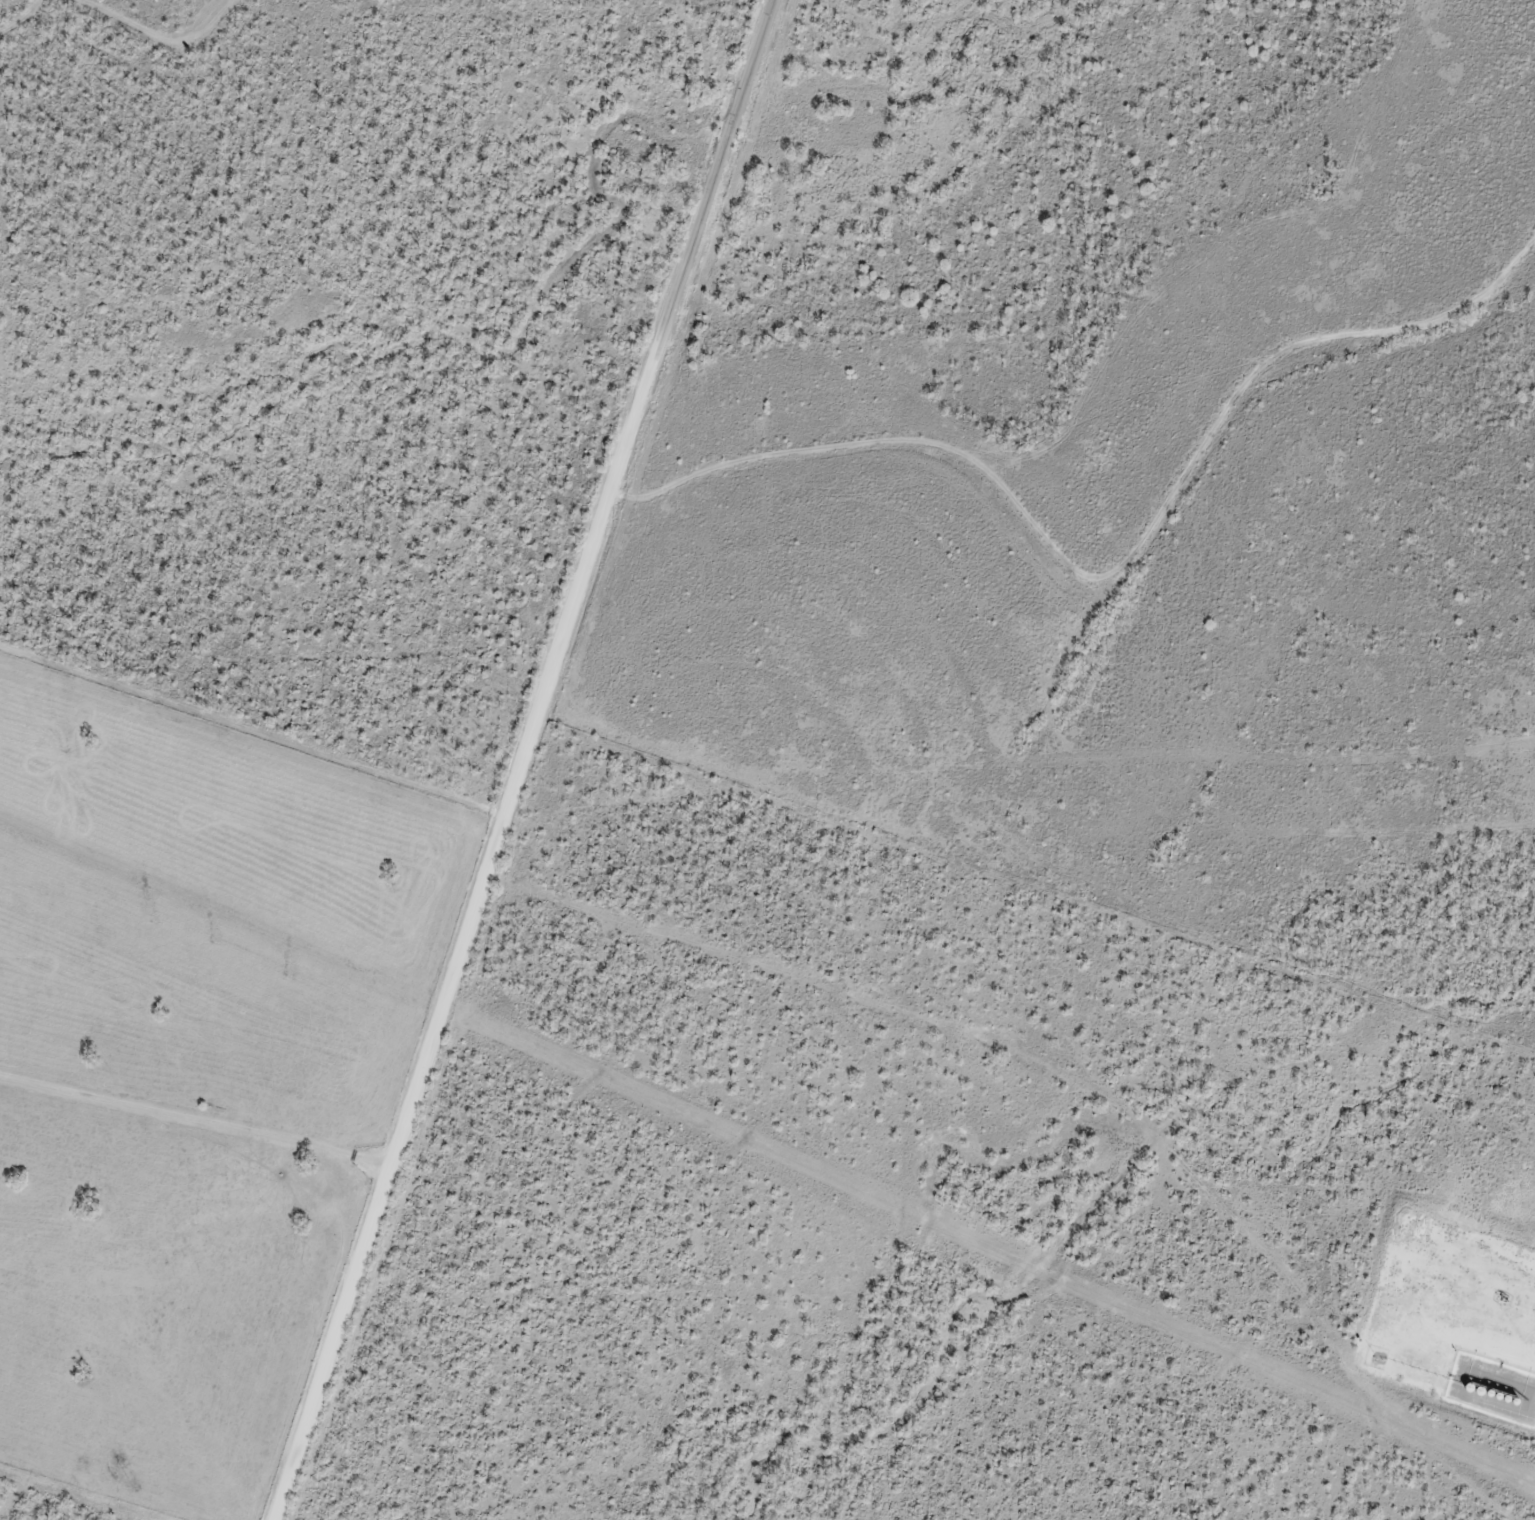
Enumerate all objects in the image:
road: (623, 435)
road: (1108, 569)
road: (1065, 1077)
road: (375, 1197)

